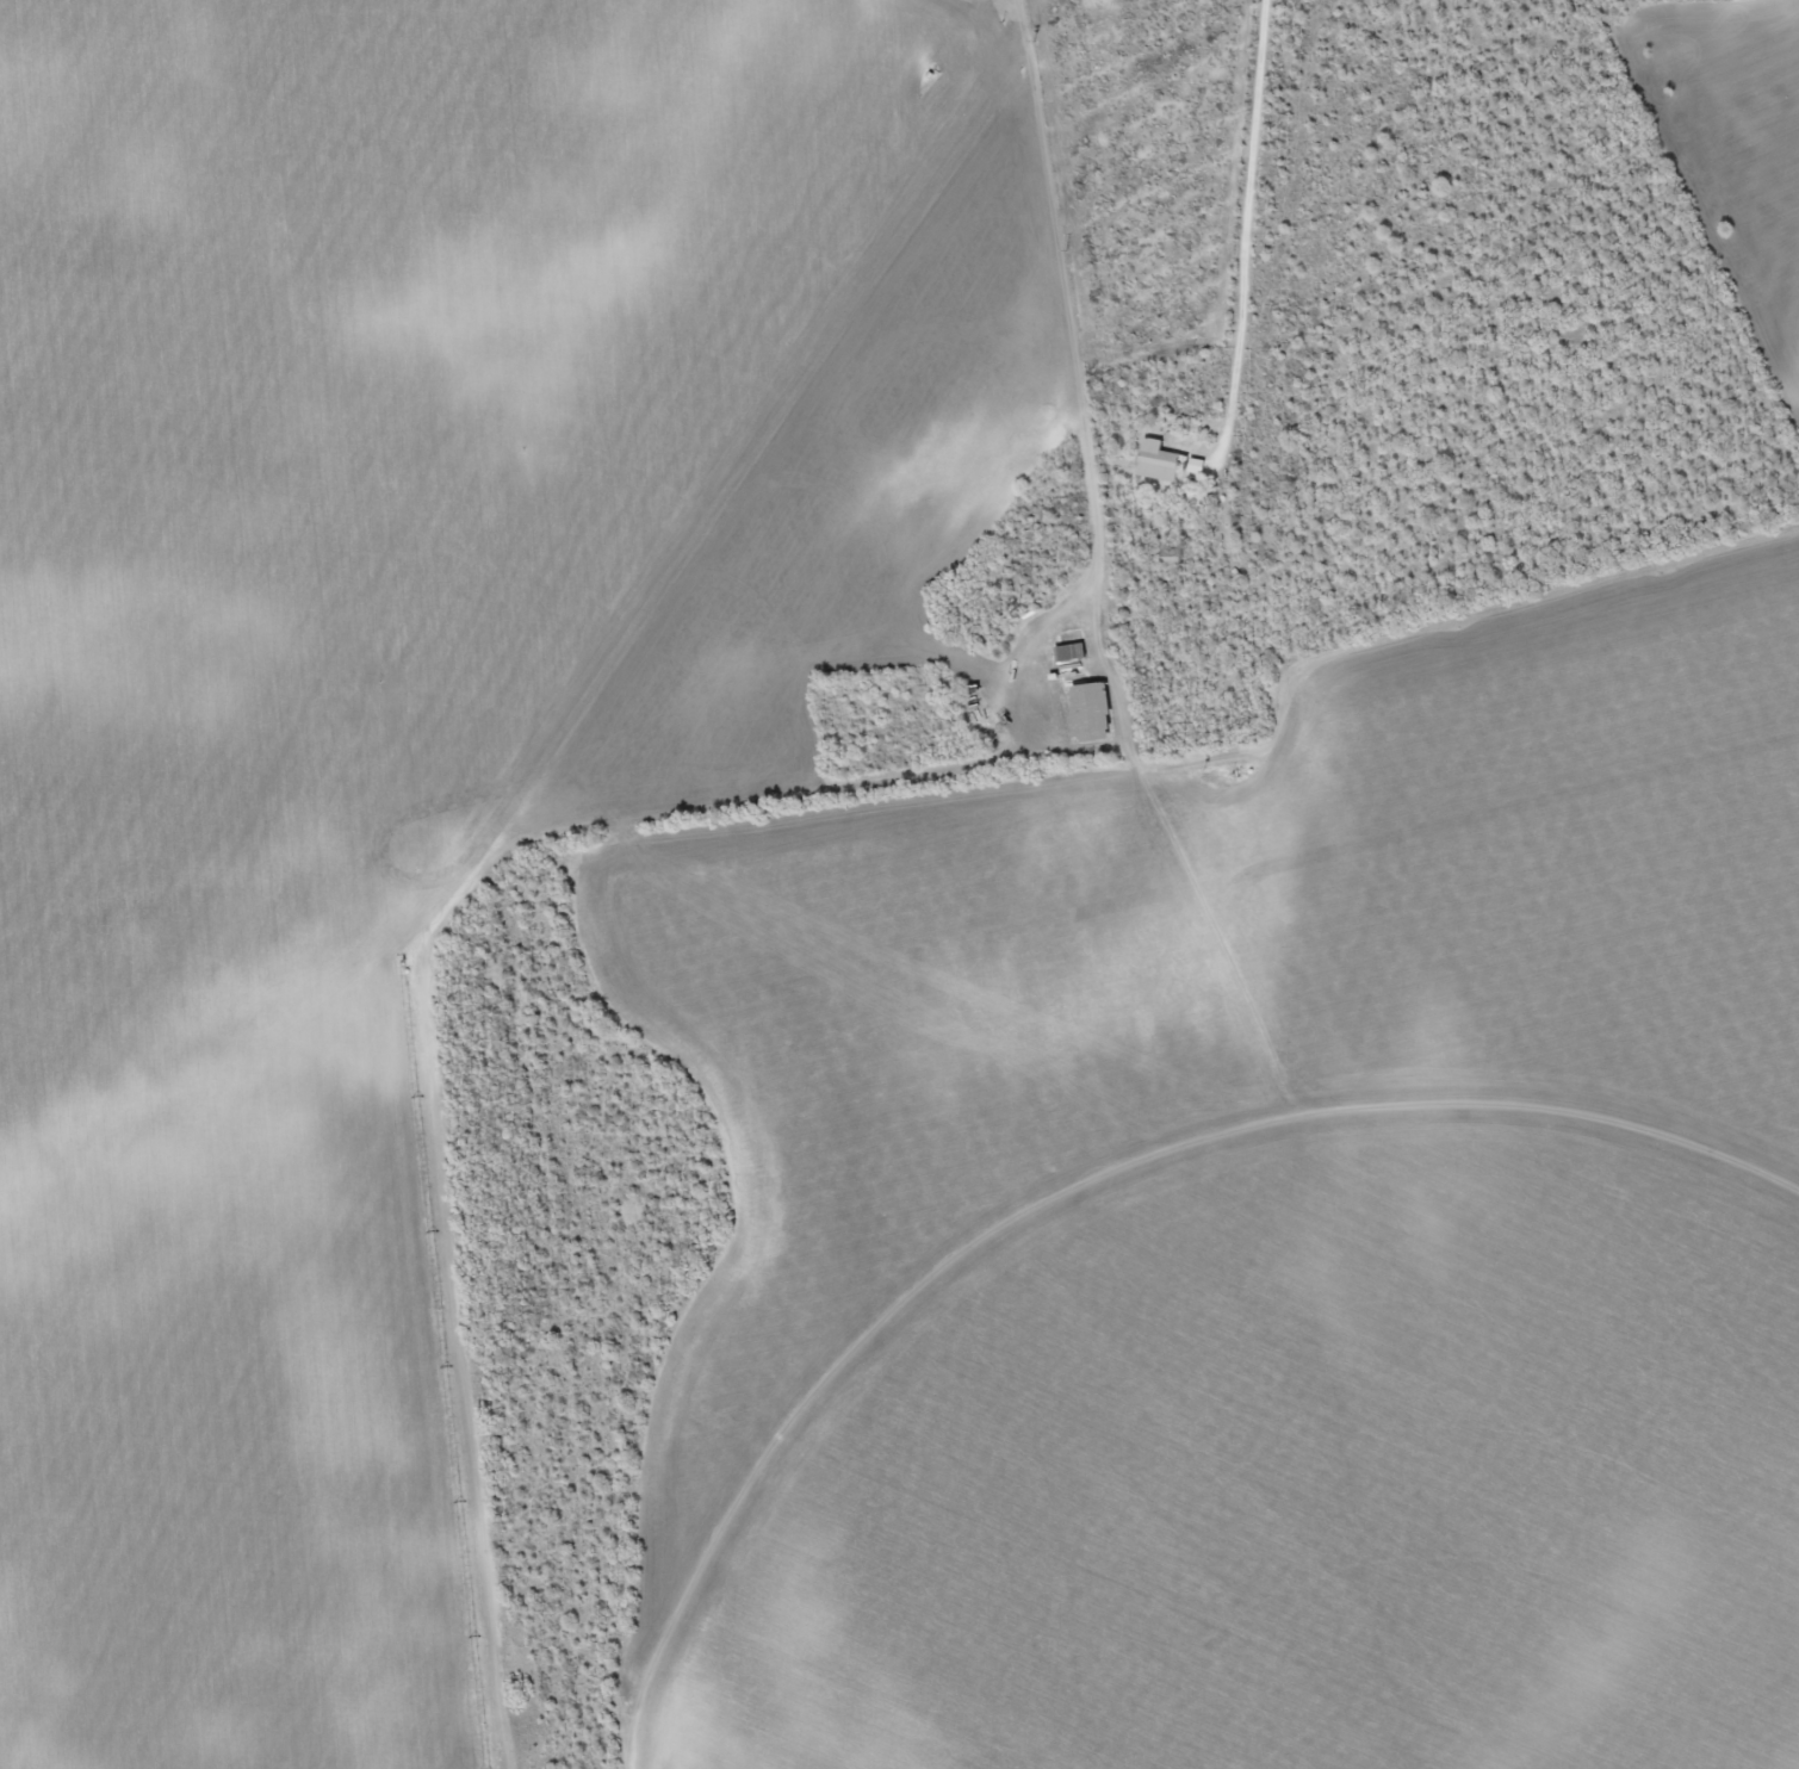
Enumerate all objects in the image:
building: (1155, 463)
road: (1233, 576)
building: (1085, 713)

